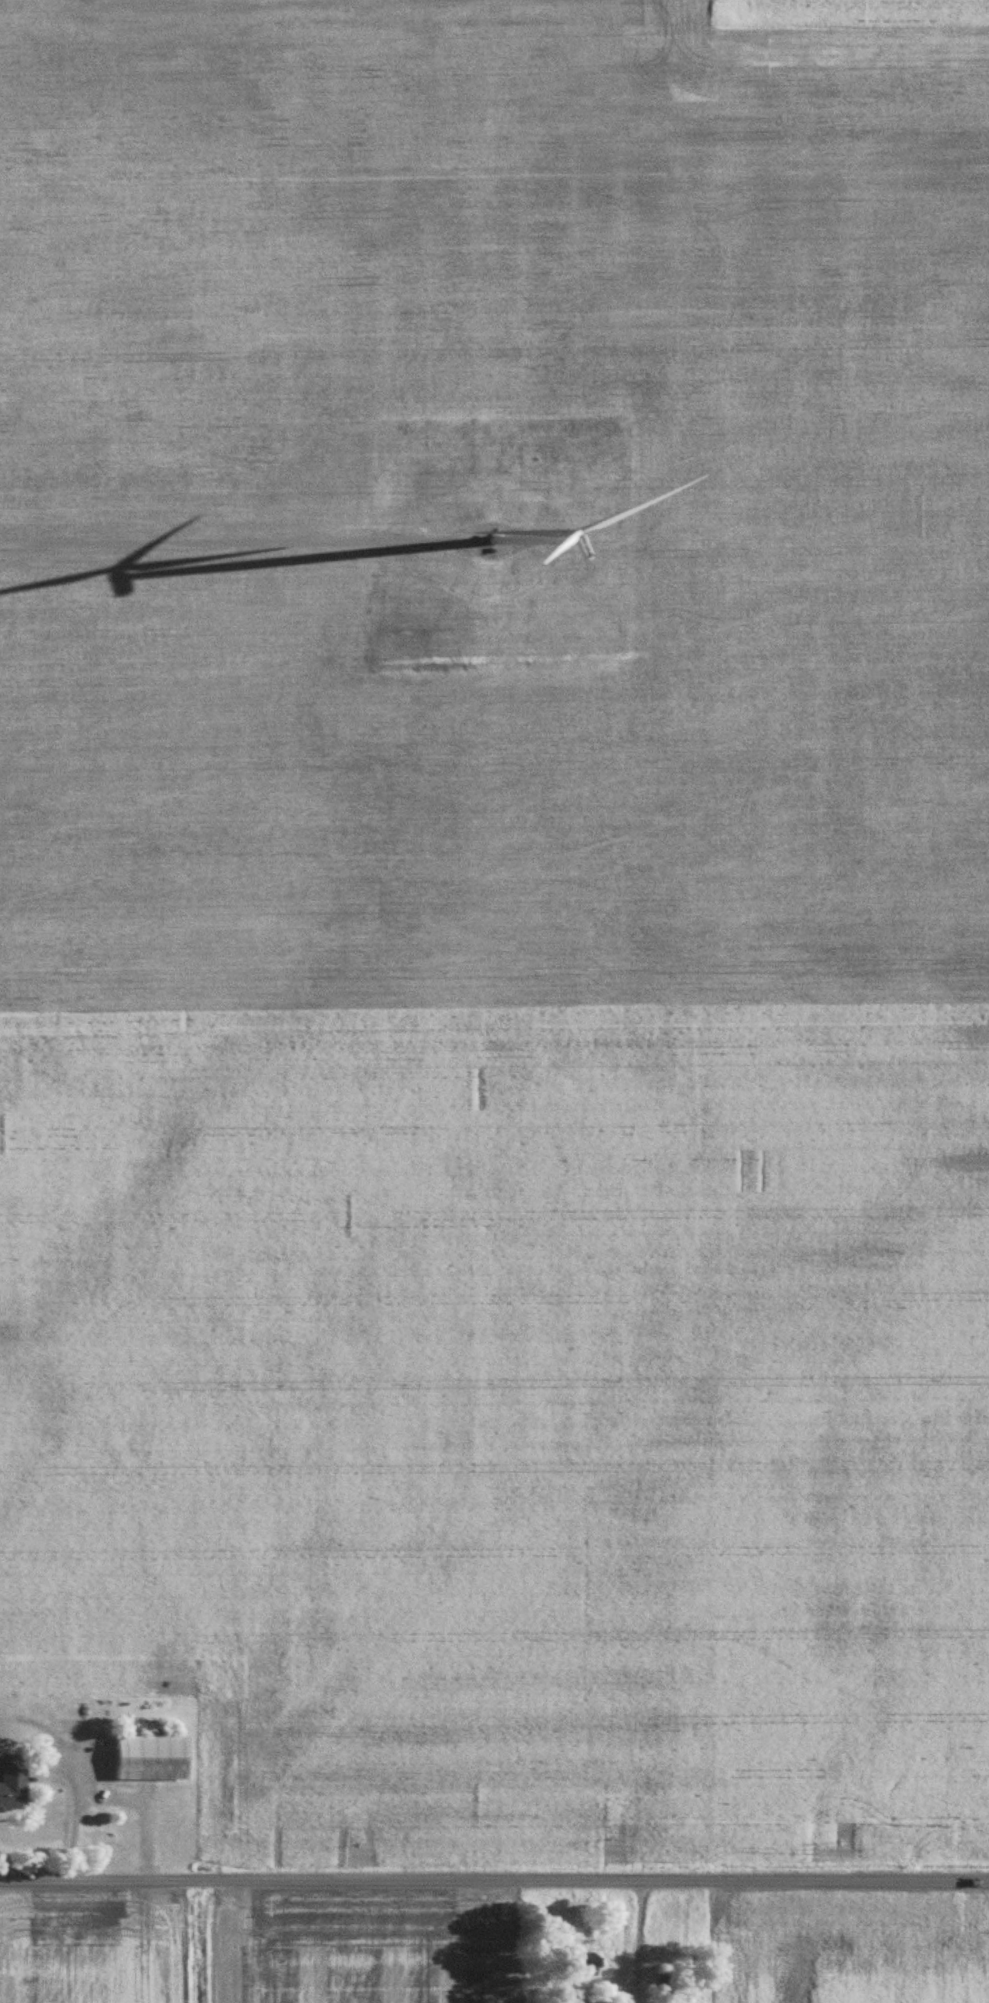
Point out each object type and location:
wind turbine: (496, 536)
road: (189, 546)
building: (153, 1757)
road: (840, 1760)
building: (15, 1782)
road: (494, 1879)

